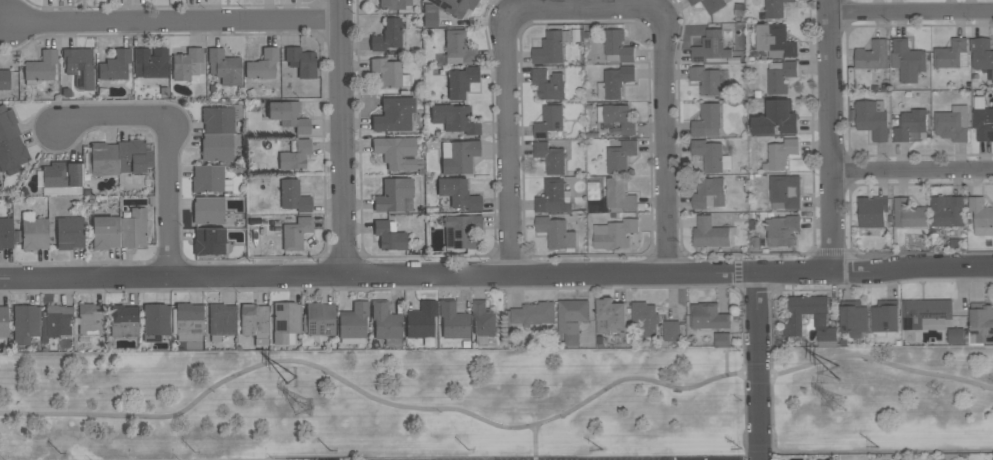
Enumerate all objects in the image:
building: (693, 2)
building: (393, 4)
building: (713, 5)
building: (454, 6)
building: (775, 8)
road: (911, 10)
road: (582, 13)
building: (429, 16)
road: (177, 23)
building: (387, 36)
building: (775, 40)
building: (551, 47)
building: (617, 47)
building: (458, 48)
building: (712, 48)
building: (952, 54)
building: (982, 54)
building: (873, 55)
building: (907, 60)
building: (300, 62)
building: (150, 63)
building: (187, 65)
building: (262, 65)
building: (114, 66)
building: (40, 67)
building: (78, 67)
building: (223, 67)
building: (389, 73)
building: (780, 76)
building: (709, 79)
building: (4, 80)
building: (615, 81)
building: (460, 82)
building: (549, 84)
building: (393, 115)
building: (288, 116)
building: (617, 117)
building: (776, 118)
building: (220, 119)
building: (454, 119)
building: (872, 119)
building: (982, 119)
building: (549, 120)
building: (707, 120)
building: (952, 123)
building: (7, 124)
building: (908, 124)
road: (830, 134)
road: (342, 137)
road: (166, 142)
building: (216, 147)
building: (395, 152)
building: (780, 153)
building: (12, 155)
building: (294, 155)
building: (711, 155)
building: (457, 156)
building: (620, 156)
building: (133, 157)
building: (550, 157)
building: (102, 159)
road: (912, 168)
building: (62, 178)
building: (209, 179)
building: (785, 191)
building: (709, 193)
building: (457, 194)
building: (619, 195)
building: (293, 196)
building: (394, 196)
building: (552, 197)
building: (208, 210)
building: (872, 210)
building: (947, 211)
building: (908, 214)
building: (981, 216)
building: (133, 229)
building: (782, 230)
building: (460, 231)
building: (5, 233)
building: (69, 233)
building: (105, 233)
building: (295, 233)
building: (556, 233)
building: (614, 233)
building: (710, 233)
building: (34, 234)
building: (389, 236)
building: (208, 242)
road: (737, 271)
road: (496, 274)
building: (534, 313)
building: (925, 313)
building: (610, 315)
building: (708, 316)
building: (645, 317)
building: (885, 317)
building: (572, 318)
building: (854, 318)
building: (318, 320)
building: (3, 321)
building: (123, 321)
building: (220, 321)
building: (453, 321)
building: (56, 322)
building: (90, 322)
building: (155, 322)
building: (187, 322)
building: (421, 322)
building: (483, 322)
building: (254, 323)
building: (285, 323)
building: (980, 323)
building: (25, 324)
building: (352, 324)
building: (385, 324)
building: (792, 324)
building: (671, 330)
building: (956, 336)
building: (722, 339)
road: (769, 352)
road: (759, 365)
power tower: (850, 372)
road: (744, 373)
power tower: (291, 376)
park: (499, 403)
power tower: (839, 404)
power tower: (309, 411)
road: (493, 424)
road: (757, 439)
road: (533, 442)

